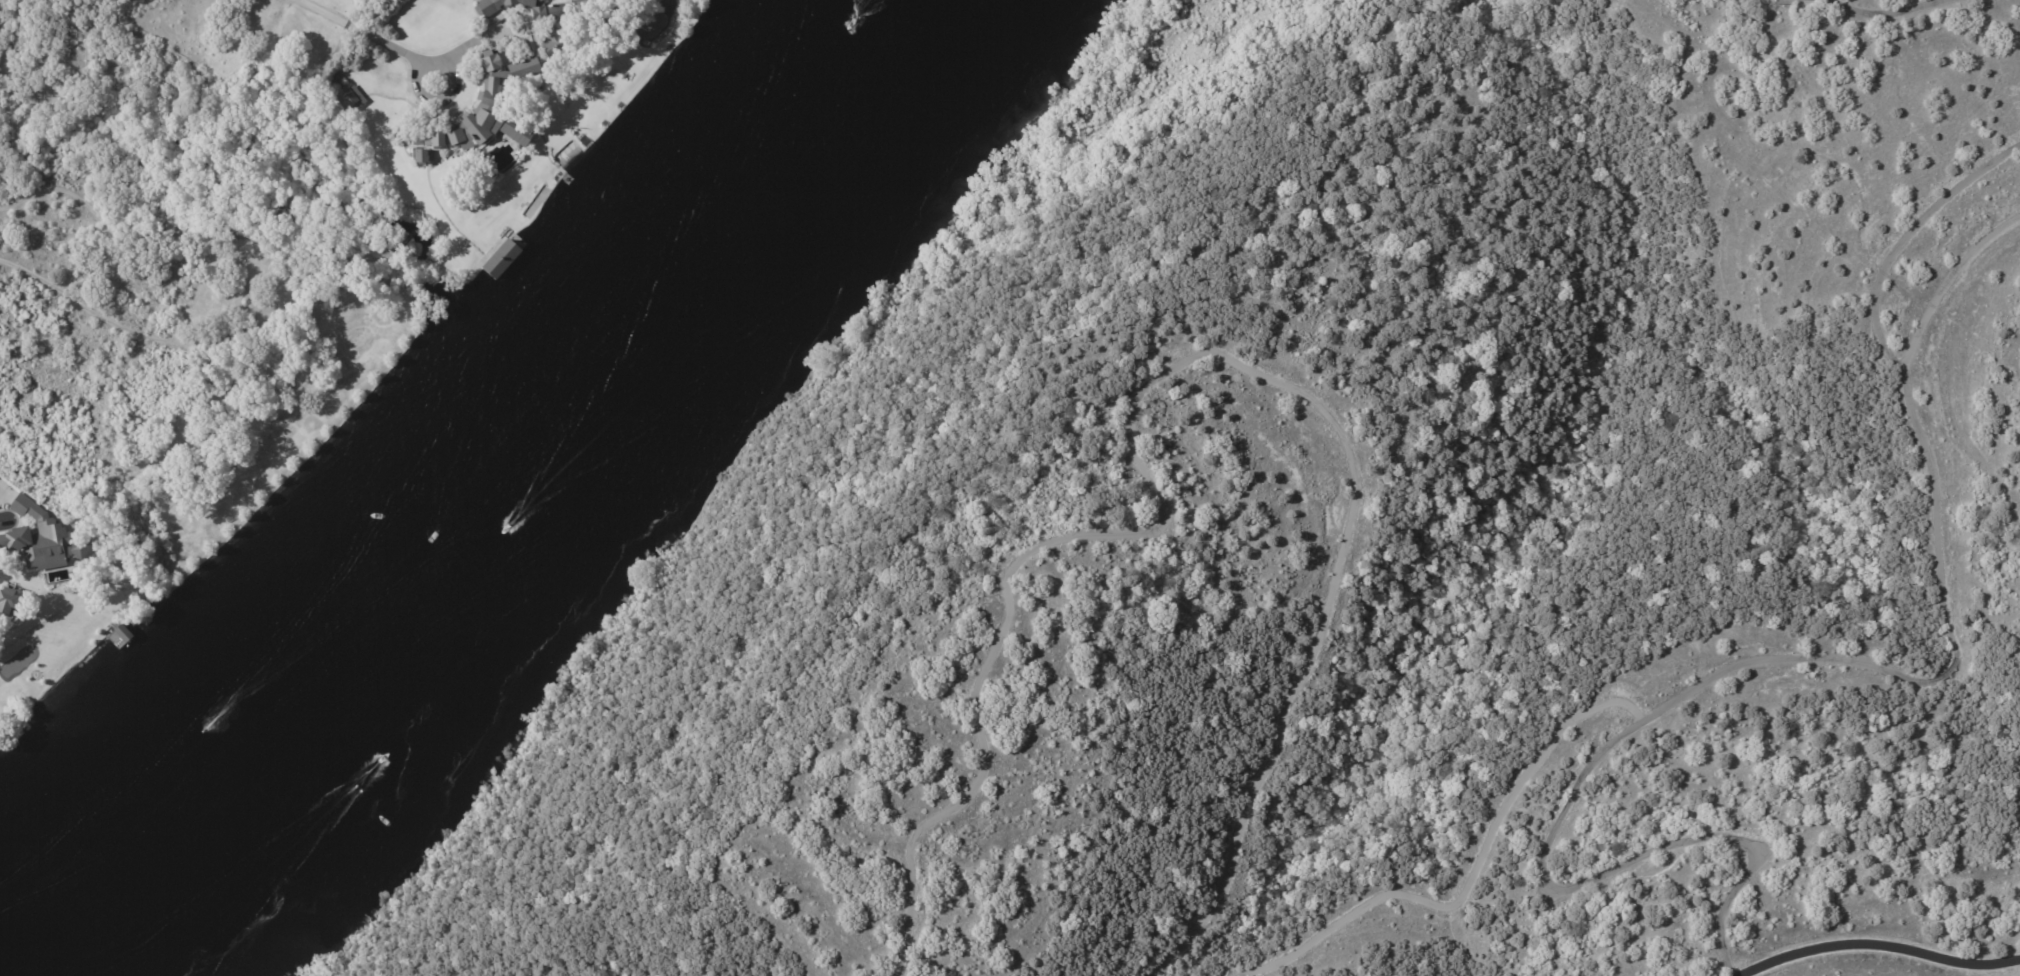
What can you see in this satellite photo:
building: (498, 5)
building: (549, 12)
road: (1881, 13)
road: (359, 28)
building: (593, 36)
building: (551, 44)
building: (344, 94)
building: (480, 106)
building: (516, 132)
building: (420, 157)
road: (1904, 236)
river: (550, 514)
building: (5, 522)
building: (41, 538)
building: (8, 601)
road: (1760, 662)
road: (1881, 952)

